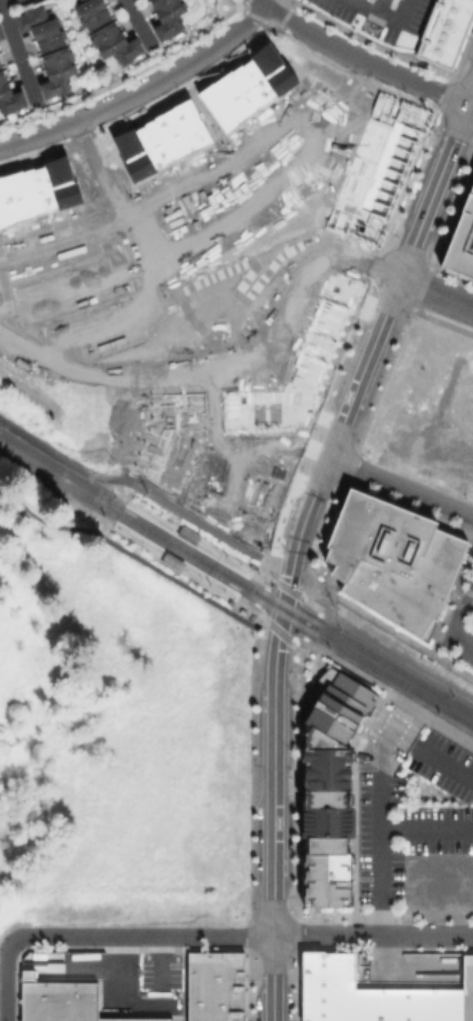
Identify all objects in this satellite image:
road: (3, 1)
road: (275, 4)
road: (374, 7)
parking lot: (381, 15)
building: (169, 18)
road: (140, 24)
building: (110, 33)
building: (448, 33)
building: (1, 37)
road: (18, 50)
building: (49, 51)
road: (362, 59)
road: (141, 91)
building: (10, 95)
road: (326, 124)
road: (100, 170)
road: (61, 243)
road: (132, 243)
building: (463, 244)
road: (72, 290)
road: (435, 295)
road: (373, 343)
road: (54, 360)
road: (80, 404)
railway: (27, 461)
railway: (55, 467)
road: (138, 483)
road: (401, 484)
railway: (128, 497)
railway: (110, 529)
railway: (152, 536)
railway: (182, 543)
road: (134, 559)
building: (392, 561)
road: (271, 569)
road: (259, 576)
road: (278, 582)
road: (265, 596)
road: (310, 602)
railway: (287, 605)
road: (247, 607)
railway: (282, 614)
road: (458, 623)
railway: (321, 625)
road: (388, 626)
road: (313, 630)
road: (281, 632)
railway: (316, 634)
road: (403, 657)
railway: (397, 670)
railway: (395, 681)
road: (390, 690)
road: (407, 708)
road: (446, 761)
road: (285, 782)
road: (297, 782)
building: (331, 785)
road: (273, 811)
road: (383, 822)
road: (428, 829)
road: (385, 917)
road: (298, 926)
road: (143, 936)
road: (373, 937)
building: (332, 961)
road: (160, 962)
parking lot: (162, 971)
road: (5, 979)
building: (332, 979)
building: (218, 986)
building: (469, 987)
road: (120, 994)
building: (332, 998)
building: (59, 999)
building: (376, 1004)
building: (430, 1004)
building: (332, 1015)
building: (118, 1018)
building: (155, 1019)

